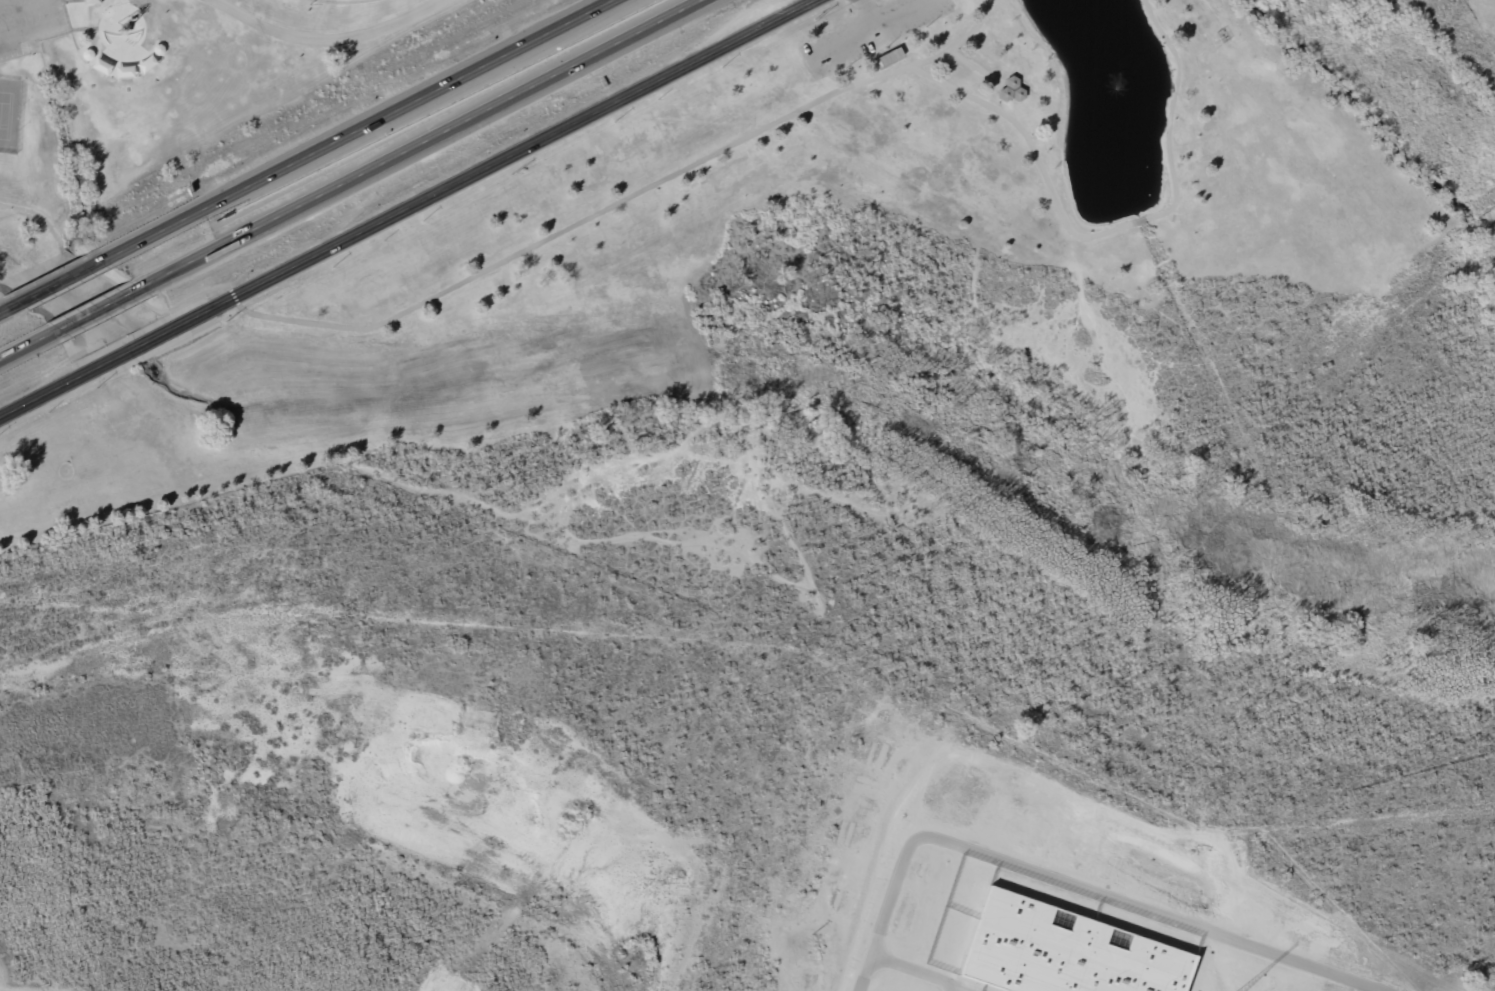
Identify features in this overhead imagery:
park: (343, 0)
building: (93, 1)
road: (868, 14)
road: (872, 29)
road: (330, 39)
building: (889, 56)
road: (975, 67)
building: (1010, 89)
park: (183, 102)
park: (9, 113)
road: (356, 129)
road: (422, 140)
road: (409, 208)
road: (1068, 222)
road: (59, 281)
road: (444, 293)
road: (102, 306)
road: (7, 307)
road: (27, 344)
park: (969, 400)
building: (1068, 951)

